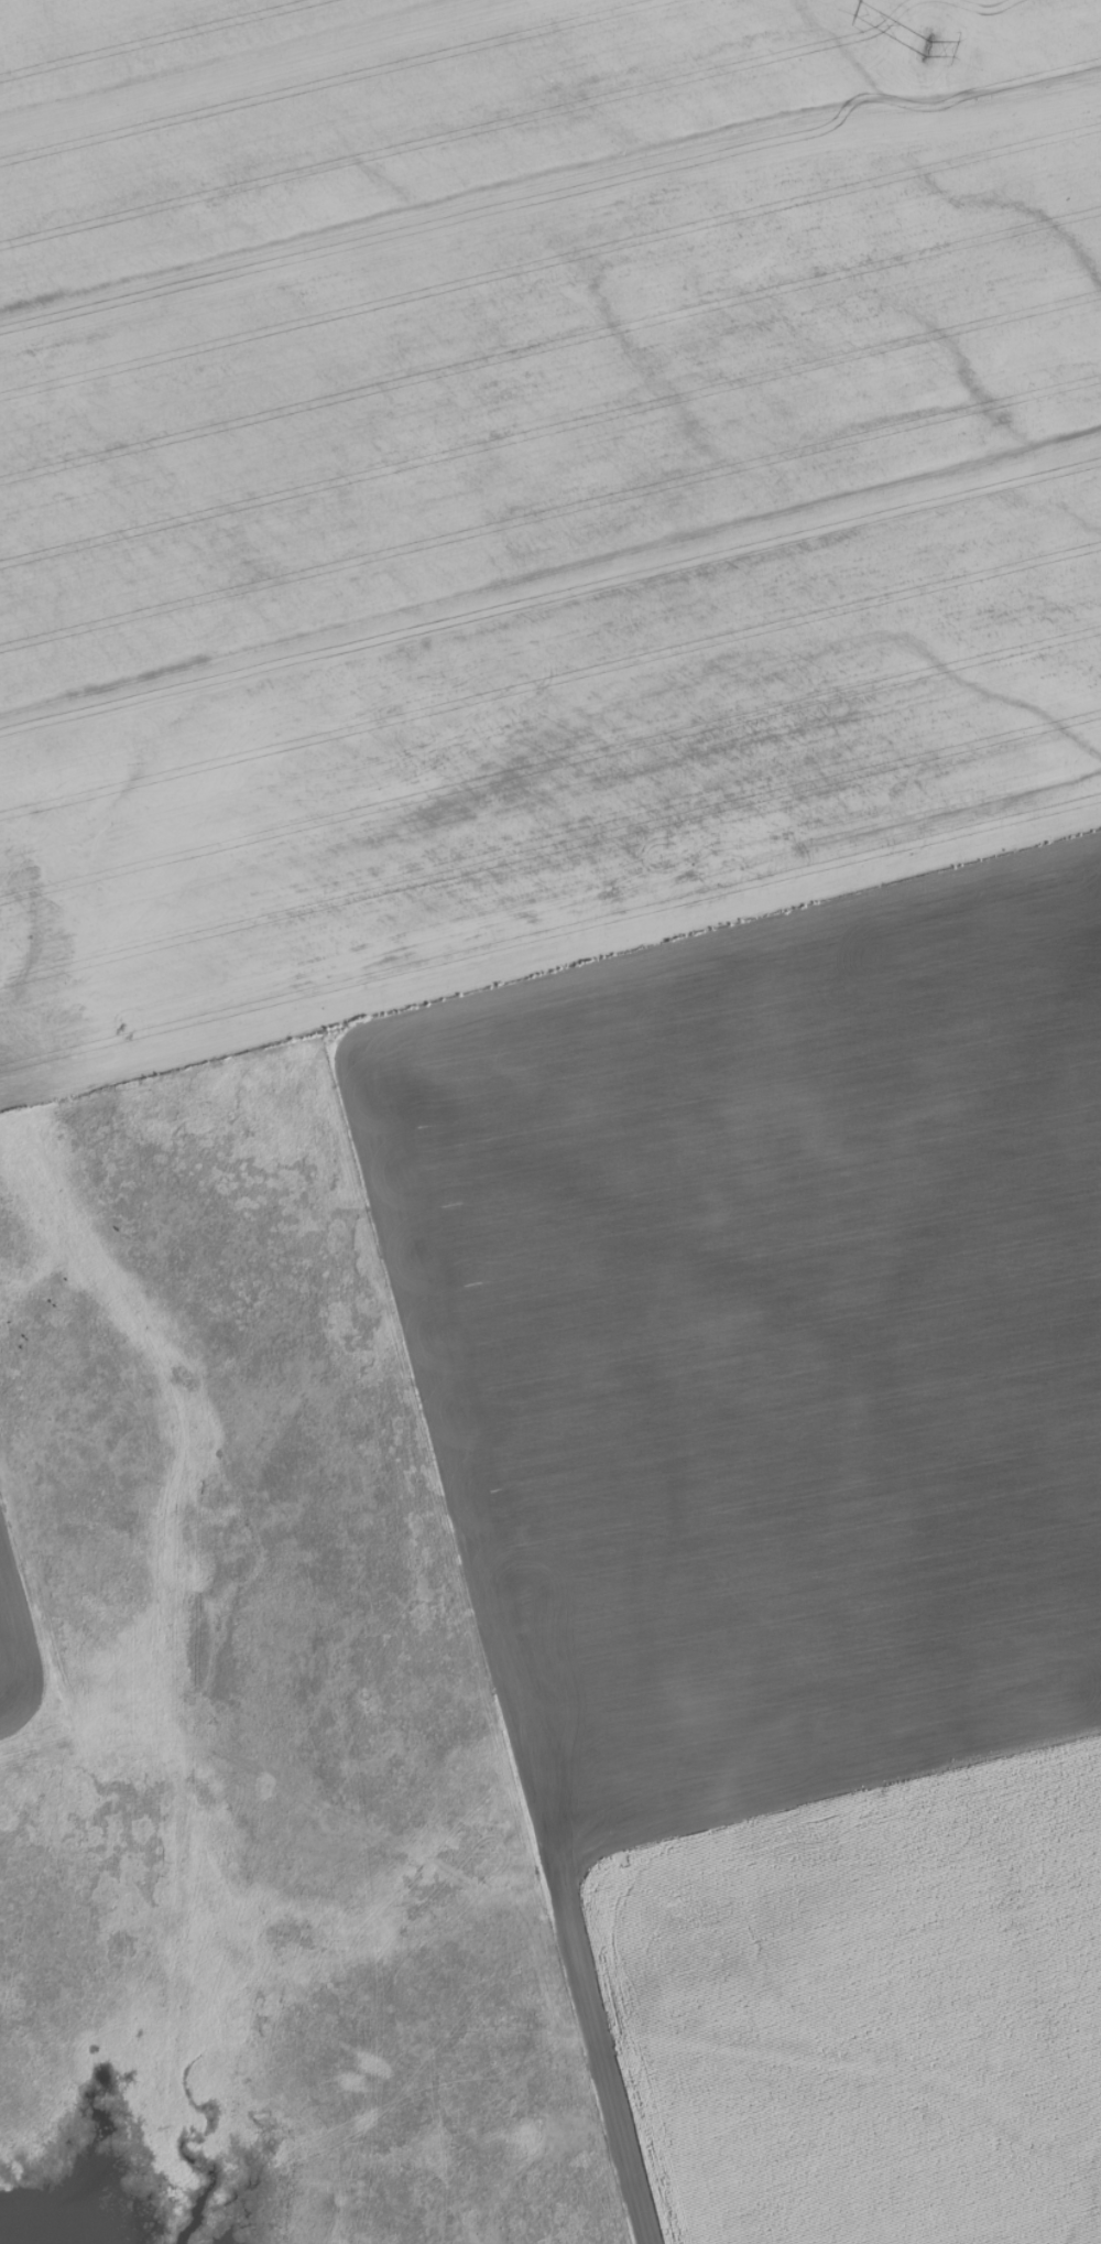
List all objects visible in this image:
power tower: (927, 51)

